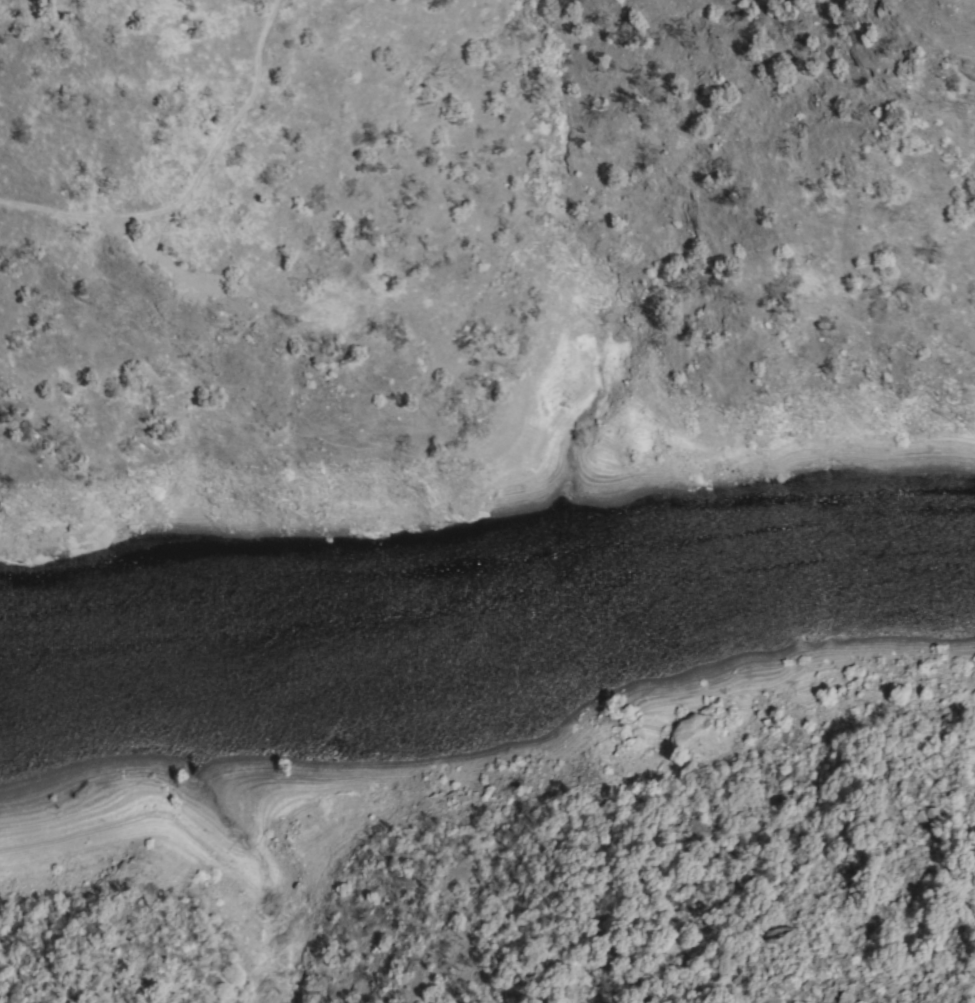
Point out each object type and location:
power tower: (284, 322)
river: (593, 642)
river: (103, 733)

